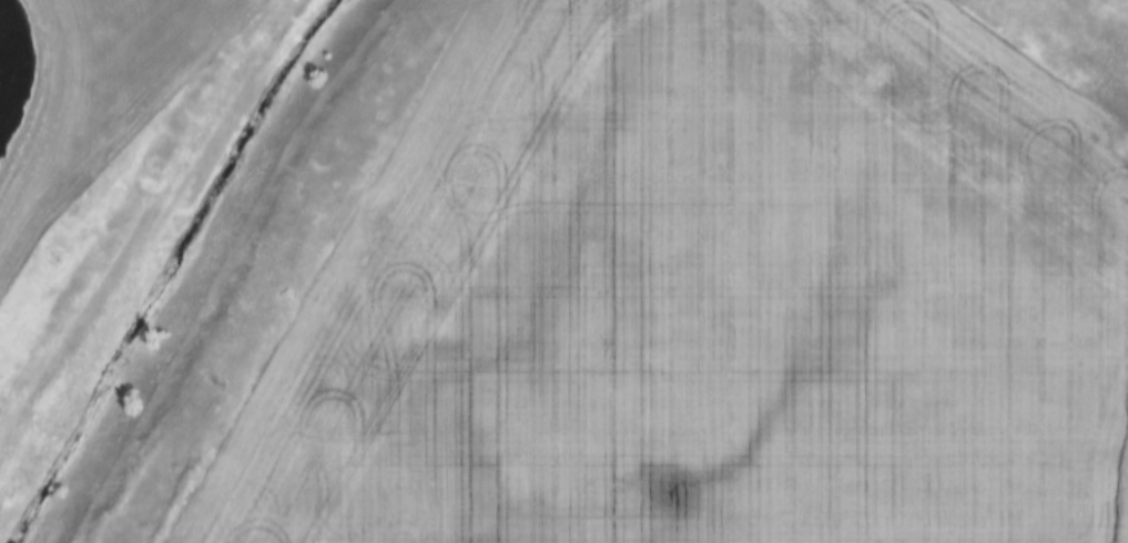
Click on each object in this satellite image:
airport: (87, 88)
road: (43, 105)

